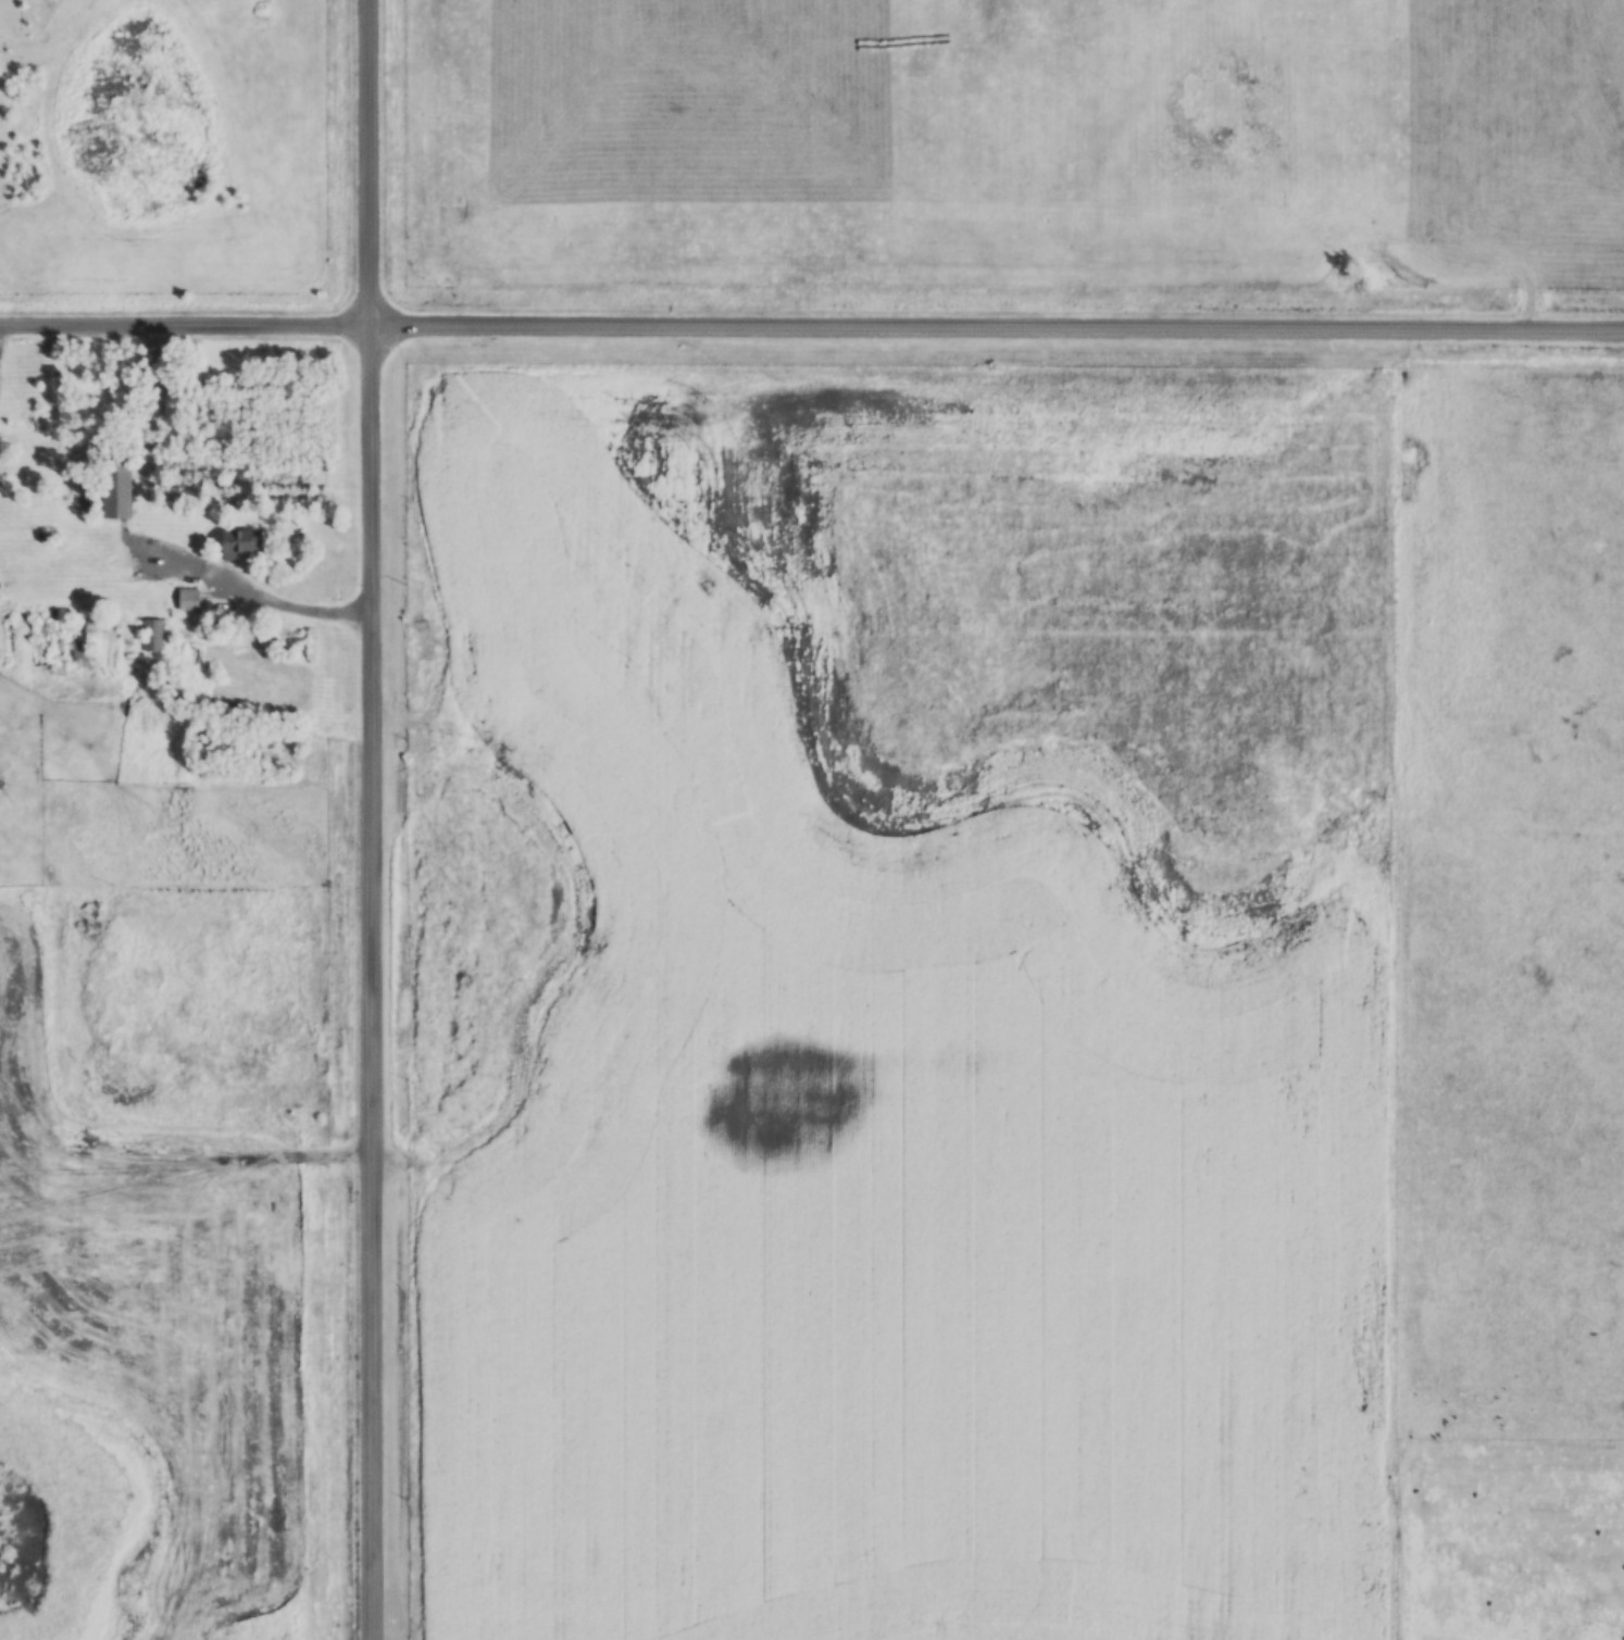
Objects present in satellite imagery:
road: (811, 331)
building: (118, 499)
building: (239, 543)
road: (251, 594)
building: (188, 599)
building: (152, 634)
building: (46, 637)
road: (368, 819)

